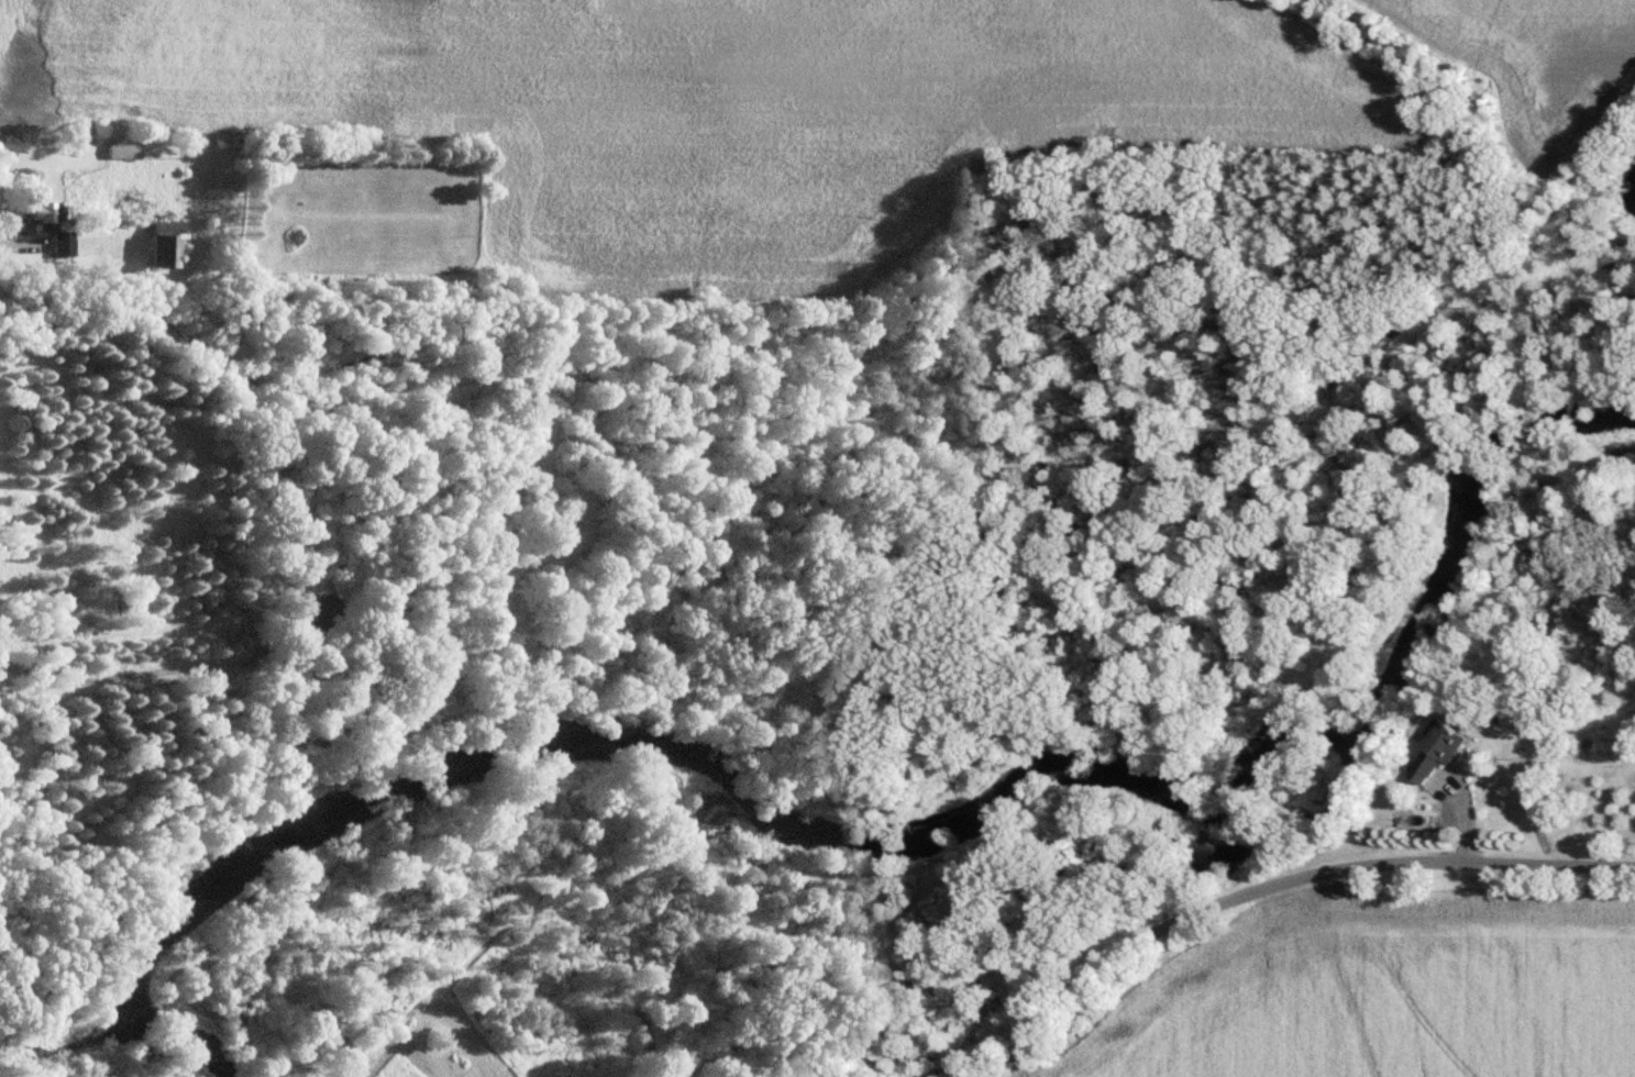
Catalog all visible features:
building: (119, 149)
building: (79, 171)
building: (35, 209)
building: (161, 240)
building: (58, 241)
road: (22, 245)
building: (306, 613)
road: (114, 674)
building: (1433, 751)
river: (886, 835)
road: (1280, 878)

